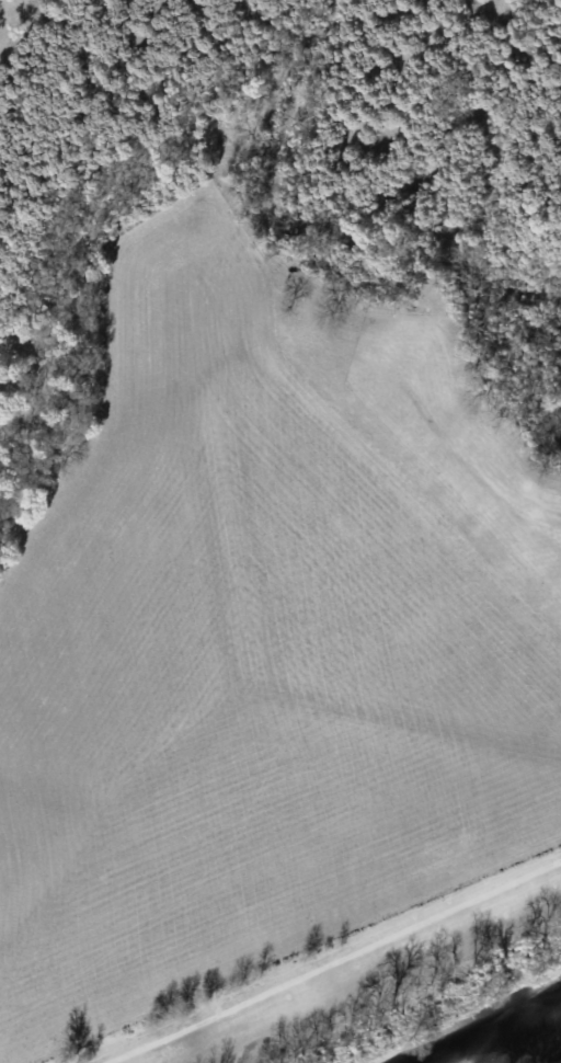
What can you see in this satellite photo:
river: (480, 1035)

